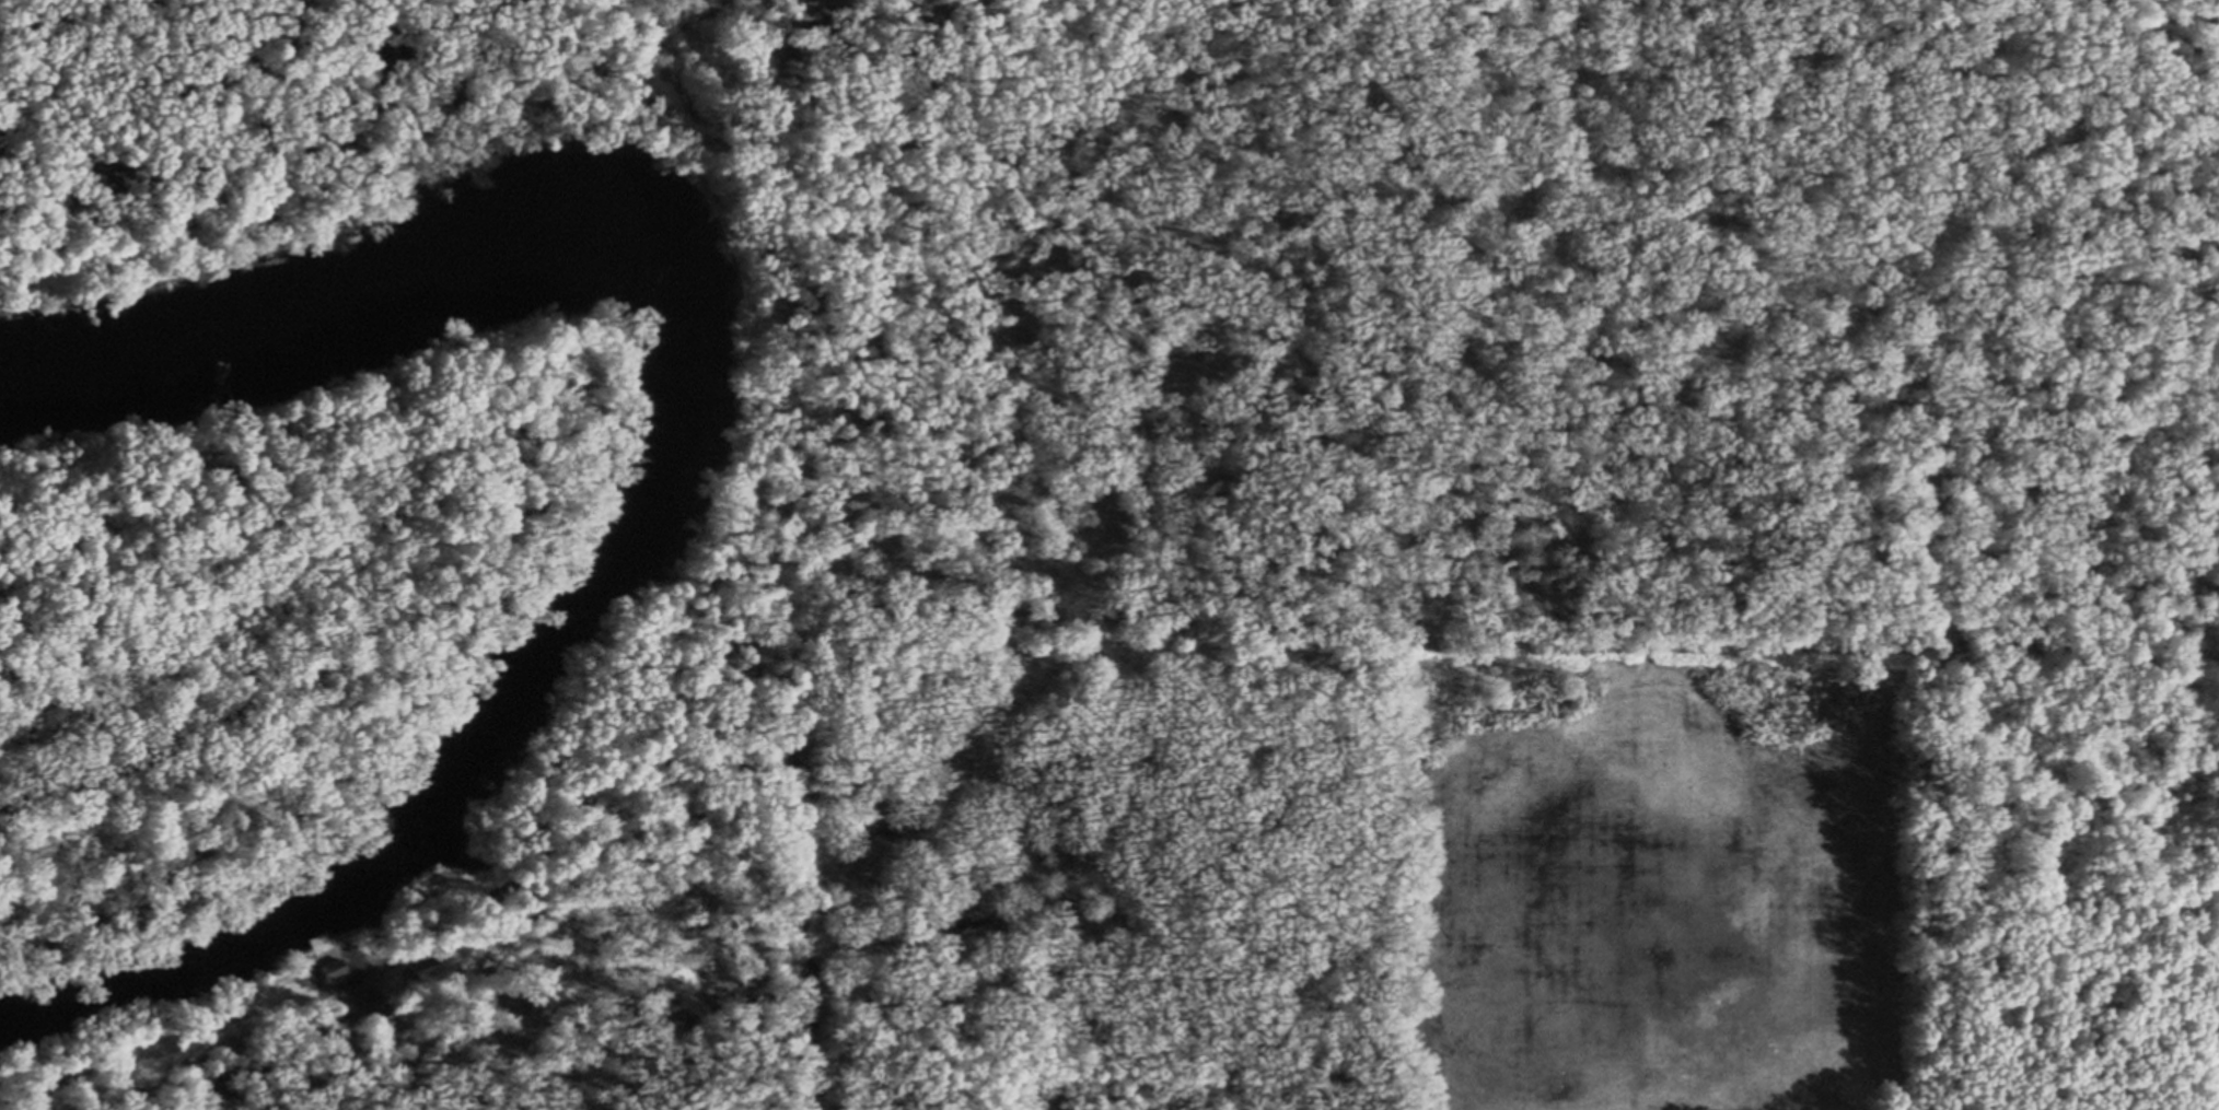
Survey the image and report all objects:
building: (649, 109)
building: (746, 364)
river: (667, 465)
road: (693, 761)
building: (316, 943)
building: (330, 973)
building: (420, 1000)

